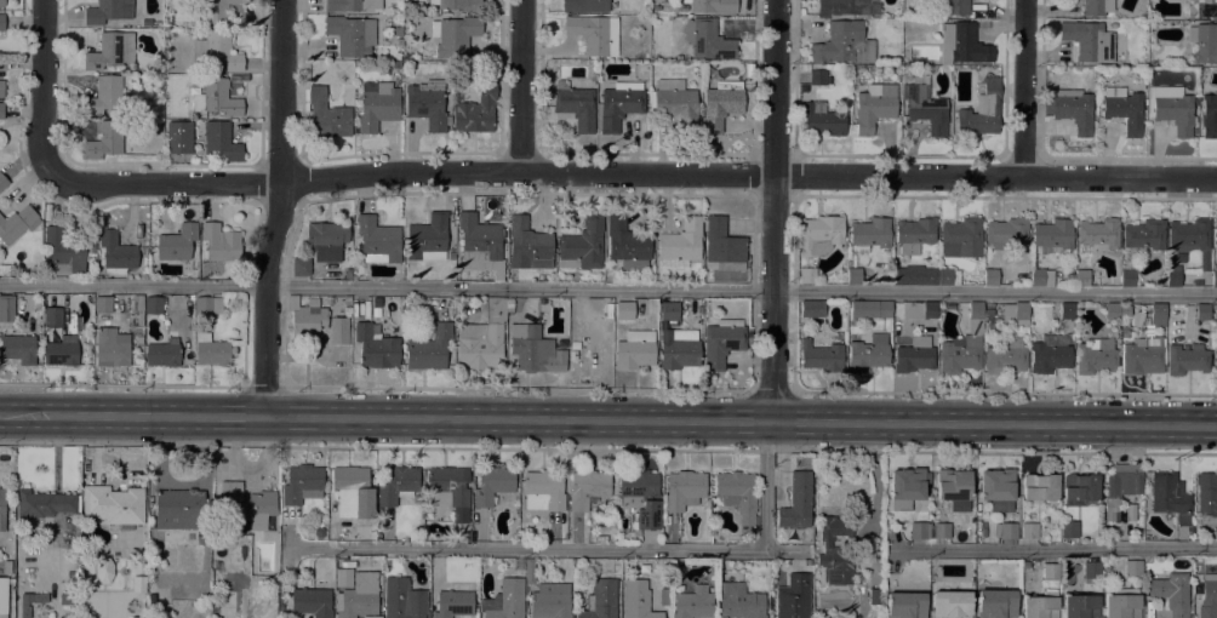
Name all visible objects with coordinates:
building: (1, 4)
building: (350, 5)
building: (459, 5)
building: (585, 5)
building: (712, 5)
building: (669, 6)
building: (684, 7)
building: (842, 7)
building: (952, 7)
building: (1096, 7)
building: (1201, 8)
building: (216, 10)
building: (107, 11)
building: (1, 22)
building: (398, 29)
building: (199, 32)
building: (350, 34)
building: (594, 34)
building: (455, 35)
building: (707, 39)
building: (1089, 41)
building: (1204, 42)
building: (842, 45)
building: (961, 45)
building: (109, 50)
building: (216, 51)
building: (817, 79)
road: (520, 86)
building: (1, 88)
road: (45, 88)
road: (1024, 90)
building: (104, 95)
building: (216, 97)
building: (673, 101)
building: (377, 104)
building: (427, 104)
building: (619, 104)
building: (721, 104)
building: (575, 105)
building: (1170, 108)
building: (873, 109)
building: (926, 109)
building: (1070, 109)
building: (1122, 109)
building: (0, 110)
building: (476, 110)
building: (327, 115)
building: (979, 115)
building: (1209, 116)
building: (823, 120)
building: (185, 122)
building: (104, 139)
building: (218, 141)
road: (633, 173)
building: (2, 182)
road: (280, 208)
road: (772, 210)
building: (17, 223)
building: (1006, 233)
building: (821, 234)
building: (869, 234)
building: (914, 234)
building: (1098, 234)
building: (1143, 234)
building: (1215, 235)
building: (1051, 236)
building: (427, 238)
building: (961, 238)
building: (1192, 239)
building: (325, 240)
building: (378, 240)
building: (478, 240)
building: (177, 242)
building: (219, 242)
building: (528, 245)
building: (582, 245)
building: (627, 245)
building: (680, 245)
building: (722, 246)
building: (91, 248)
building: (144, 251)
building: (63, 252)
building: (115, 252)
building: (301, 267)
building: (1070, 267)
building: (4, 269)
building: (348, 274)
building: (806, 275)
building: (853, 276)
building: (924, 276)
building: (1172, 276)
building: (607, 277)
building: (990, 277)
building: (1040, 277)
building: (1081, 277)
building: (1127, 279)
building: (1213, 279)
road: (608, 290)
building: (328, 301)
building: (347, 302)
building: (509, 303)
building: (6, 304)
building: (103, 304)
building: (153, 305)
building: (207, 305)
building: (811, 309)
building: (869, 309)
building: (624, 310)
building: (919, 310)
building: (136, 311)
building: (375, 311)
building: (669, 311)
building: (1065, 311)
building: (1112, 311)
building: (1202, 311)
building: (988, 313)
building: (1015, 313)
building: (52, 315)
building: (1158, 315)
building: (307, 317)
building: (338, 331)
building: (1122, 331)
building: (481, 338)
building: (721, 342)
building: (17, 344)
building: (964, 345)
building: (112, 347)
building: (375, 347)
building: (429, 348)
building: (528, 348)
building: (210, 349)
building: (678, 349)
building: (634, 350)
building: (62, 351)
building: (164, 353)
building: (868, 354)
building: (1050, 354)
building: (914, 355)
building: (821, 356)
building: (1005, 356)
building: (1095, 356)
building: (1142, 356)
building: (1215, 356)
building: (1185, 360)
road: (122, 385)
road: (263, 387)
road: (518, 389)
road: (771, 393)
road: (1004, 394)
road: (608, 419)
road: (752, 448)
building: (302, 483)
building: (396, 483)
building: (907, 483)
building: (492, 485)
road: (765, 485)
building: (1120, 486)
building: (587, 488)
building: (1040, 488)
building: (450, 490)
building: (684, 490)
building: (953, 490)
building: (998, 490)
building: (1079, 490)
building: (543, 491)
building: (352, 493)
building: (1206, 494)
building: (736, 496)
road: (873, 496)
building: (639, 497)
building: (1169, 497)
building: (796, 502)
building: (42, 503)
building: (246, 504)
building: (113, 505)
building: (2, 507)
building: (178, 509)
building: (1069, 530)
building: (919, 531)
building: (941, 531)
building: (1007, 531)
building: (1029, 531)
building: (319, 532)
building: (1216, 532)
building: (347, 536)
building: (199, 539)
road: (547, 548)
building: (836, 550)
road: (1055, 550)
building: (1105, 568)
building: (1132, 568)
building: (103, 570)
building: (1091, 570)
building: (1050, 572)
building: (138, 584)
building: (1104, 584)
building: (69, 593)
building: (1171, 593)
building: (2, 595)
building: (359, 596)
building: (875, 596)
building: (1207, 596)
building: (793, 597)
building: (152, 599)
building: (400, 600)
building: (504, 600)
building: (549, 600)
building: (600, 600)
building: (636, 600)
building: (312, 601)
building: (455, 601)
building: (29, 602)
building: (692, 602)
building: (739, 602)
building: (995, 603)
building: (1122, 603)
building: (905, 605)
building: (950, 605)
building: (1040, 606)
building: (1080, 606)
road: (862, 611)
building: (372, 617)

